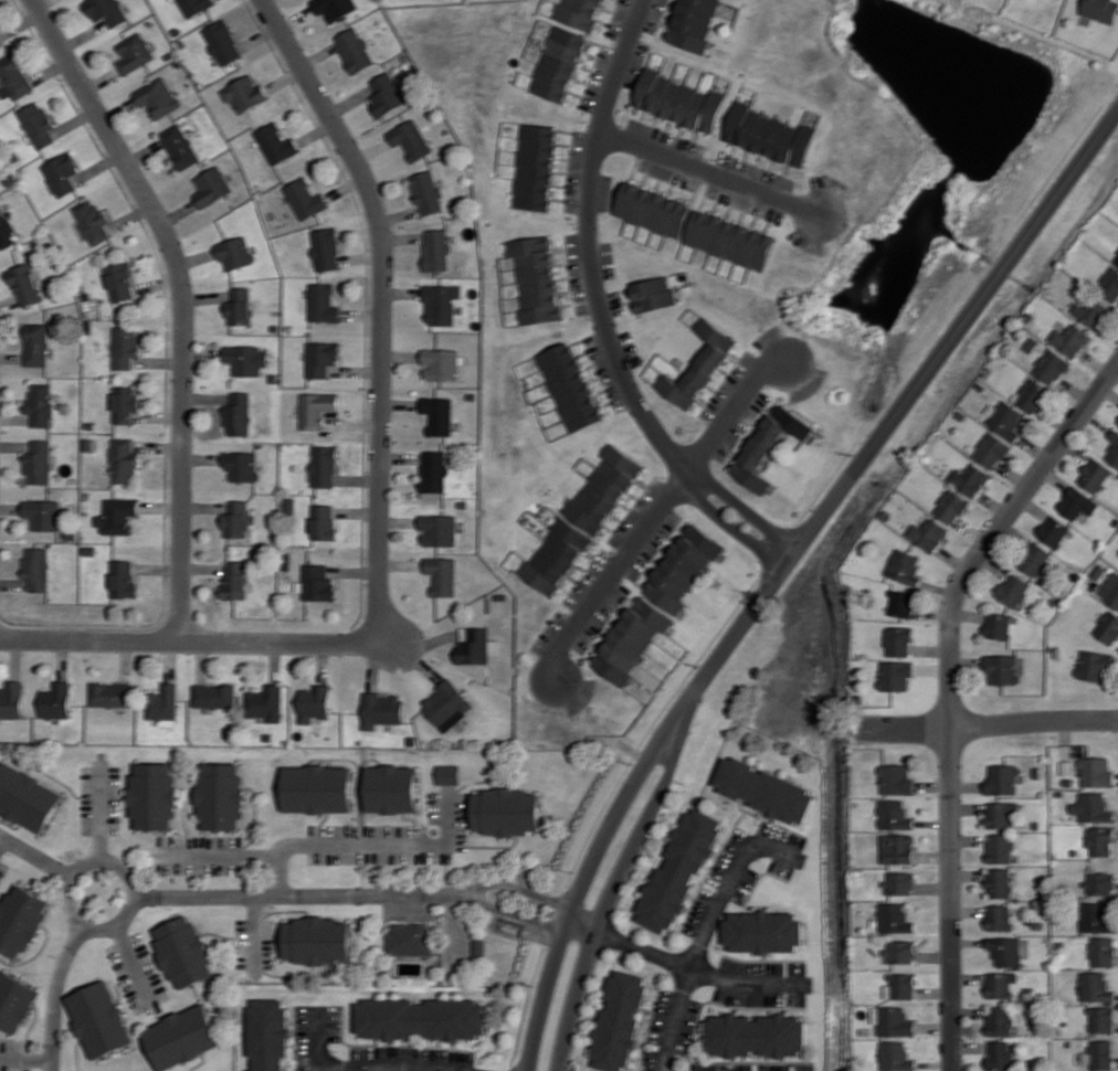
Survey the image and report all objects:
building: (194, 6)
building: (334, 8)
building: (1100, 10)
building: (106, 11)
building: (579, 13)
building: (694, 23)
building: (222, 42)
building: (0, 44)
building: (355, 50)
building: (134, 53)
building: (559, 63)
building: (13, 77)
building: (245, 93)
building: (386, 94)
building: (158, 97)
building: (678, 100)
building: (38, 124)
building: (768, 135)
building: (410, 139)
building: (276, 144)
building: (179, 146)
building: (536, 166)
building: (61, 173)
road: (707, 173)
building: (211, 187)
building: (426, 192)
building: (305, 199)
building: (653, 209)
building: (91, 221)
building: (6, 230)
building: (729, 240)
building: (326, 248)
building: (436, 250)
building: (234, 252)
building: (1117, 259)
building: (536, 278)
building: (119, 282)
building: (1109, 284)
building: (24, 285)
building: (653, 294)
road: (181, 301)
building: (323, 303)
building: (441, 303)
building: (239, 306)
road: (378, 307)
building: (1091, 311)
road: (599, 314)
building: (1069, 339)
building: (35, 343)
building: (125, 347)
building: (321, 358)
building: (246, 359)
building: (441, 363)
building: (699, 365)
building: (1051, 365)
building: (571, 386)
building: (1032, 395)
building: (125, 403)
building: (40, 404)
building: (317, 409)
road: (731, 410)
building: (238, 414)
building: (439, 414)
building: (1005, 420)
building: (768, 445)
building: (1112, 448)
building: (991, 449)
building: (123, 460)
building: (38, 462)
building: (241, 465)
building: (324, 466)
building: (435, 471)
building: (1096, 476)
building: (969, 479)
building: (603, 490)
building: (1077, 502)
building: (950, 506)
building: (43, 513)
building: (116, 516)
building: (236, 519)
building: (324, 522)
building: (439, 530)
building: (1053, 531)
building: (928, 534)
building: (557, 555)
building: (1034, 559)
building: (905, 566)
building: (35, 568)
building: (683, 568)
road: (785, 573)
building: (443, 575)
building: (123, 579)
road: (608, 579)
building: (235, 580)
building: (318, 583)
building: (1110, 588)
building: (1013, 590)
building: (903, 603)
building: (999, 625)
building: (1108, 627)
building: (631, 639)
road: (189, 640)
building: (898, 640)
building: (474, 645)
building: (1093, 665)
building: (1001, 669)
building: (895, 675)
road: (951, 692)
building: (109, 694)
building: (213, 694)
building: (11, 699)
building: (54, 700)
building: (162, 702)
building: (266, 702)
building: (315, 703)
building: (447, 706)
building: (382, 709)
road: (991, 725)
building: (1096, 772)
building: (447, 774)
building: (896, 780)
building: (1002, 780)
building: (318, 788)
building: (392, 788)
building: (764, 791)
building: (154, 795)
building: (221, 796)
building: (27, 797)
building: (1091, 807)
building: (506, 812)
building: (1001, 814)
building: (894, 815)
road: (99, 819)
building: (1099, 840)
road: (362, 842)
building: (897, 848)
building: (1000, 848)
road: (36, 855)
road: (223, 856)
road: (84, 863)
building: (678, 870)
building: (901, 882)
building: (999, 882)
building: (1099, 883)
road: (249, 898)
road: (602, 902)
building: (895, 918)
building: (998, 918)
building: (20, 920)
building: (763, 931)
road: (257, 933)
building: (409, 939)
building: (317, 940)
building: (183, 951)
road: (697, 951)
building: (900, 951)
building: (1004, 951)
building: (1101, 952)
road: (131, 956)
road: (677, 964)
building: (999, 985)
building: (900, 986)
building: (1094, 987)
building: (14, 1001)
building: (421, 1018)
building: (99, 1019)
building: (1100, 1019)
building: (1000, 1020)
building: (618, 1021)
building: (894, 1021)
building: (271, 1035)
building: (756, 1035)
building: (183, 1037)
road: (316, 1042)
road: (25, 1054)
building: (1000, 1054)
building: (1098, 1054)
building: (895, 1056)
road: (357, 1068)

